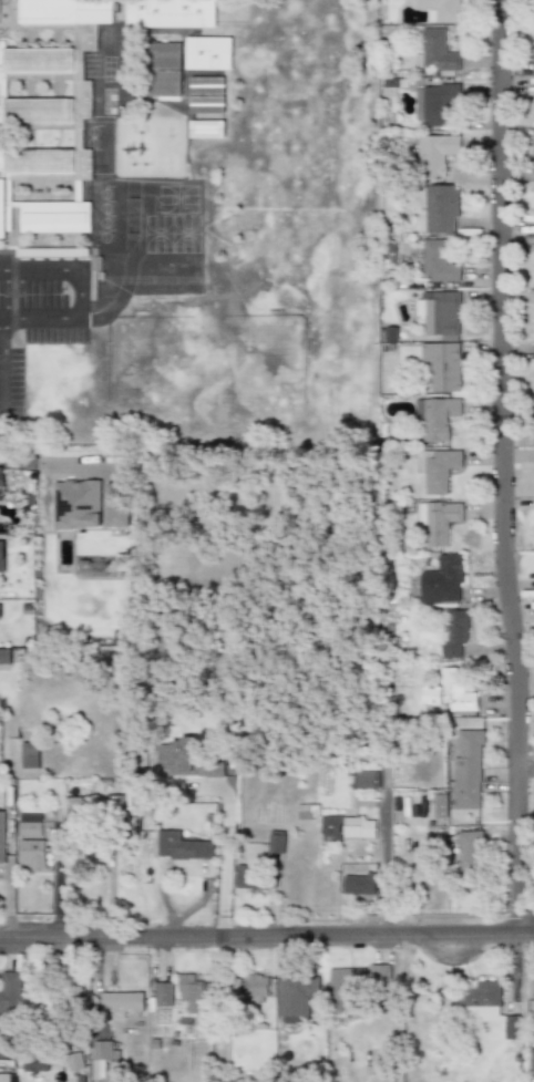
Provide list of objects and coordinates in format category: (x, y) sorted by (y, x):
building: (440, 10)
building: (170, 13)
building: (437, 52)
building: (208, 53)
building: (533, 55)
building: (164, 69)
building: (47, 93)
building: (206, 95)
building: (433, 105)
building: (206, 128)
building: (435, 155)
building: (440, 208)
building: (55, 216)
building: (438, 264)
road: (76, 291)
road: (2, 297)
building: (441, 315)
road: (1, 327)
building: (442, 365)
road: (1, 374)
building: (438, 416)
road: (37, 465)
building: (439, 467)
road: (500, 470)
building: (0, 477)
building: (29, 499)
building: (89, 505)
building: (439, 521)
building: (2, 556)
building: (442, 580)
building: (454, 631)
building: (4, 655)
building: (450, 692)
building: (29, 756)
building: (186, 758)
building: (469, 769)
building: (366, 779)
building: (441, 805)
building: (76, 807)
building: (308, 811)
building: (331, 827)
building: (359, 828)
building: (2, 836)
road: (384, 837)
building: (32, 841)
building: (276, 841)
building: (182, 846)
road: (224, 853)
building: (471, 856)
building: (254, 879)
road: (57, 880)
building: (358, 883)
road: (267, 937)
building: (379, 972)
building: (228, 988)
building: (257, 988)
building: (341, 988)
building: (10, 992)
building: (191, 993)
building: (162, 995)
building: (294, 999)
building: (122, 1003)
building: (484, 1006)
building: (103, 1053)
building: (532, 1059)
building: (74, 1061)
building: (35, 1063)
building: (4, 1078)

